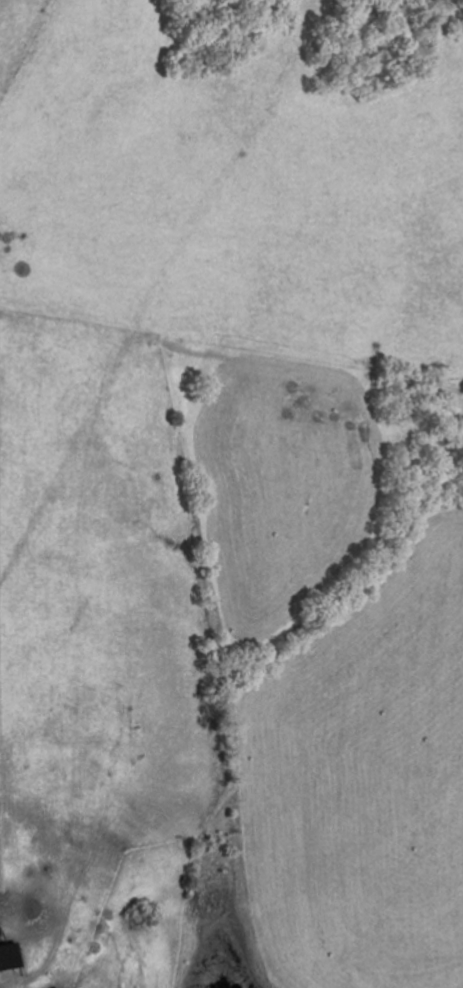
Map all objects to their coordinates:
building: (7, 956)

